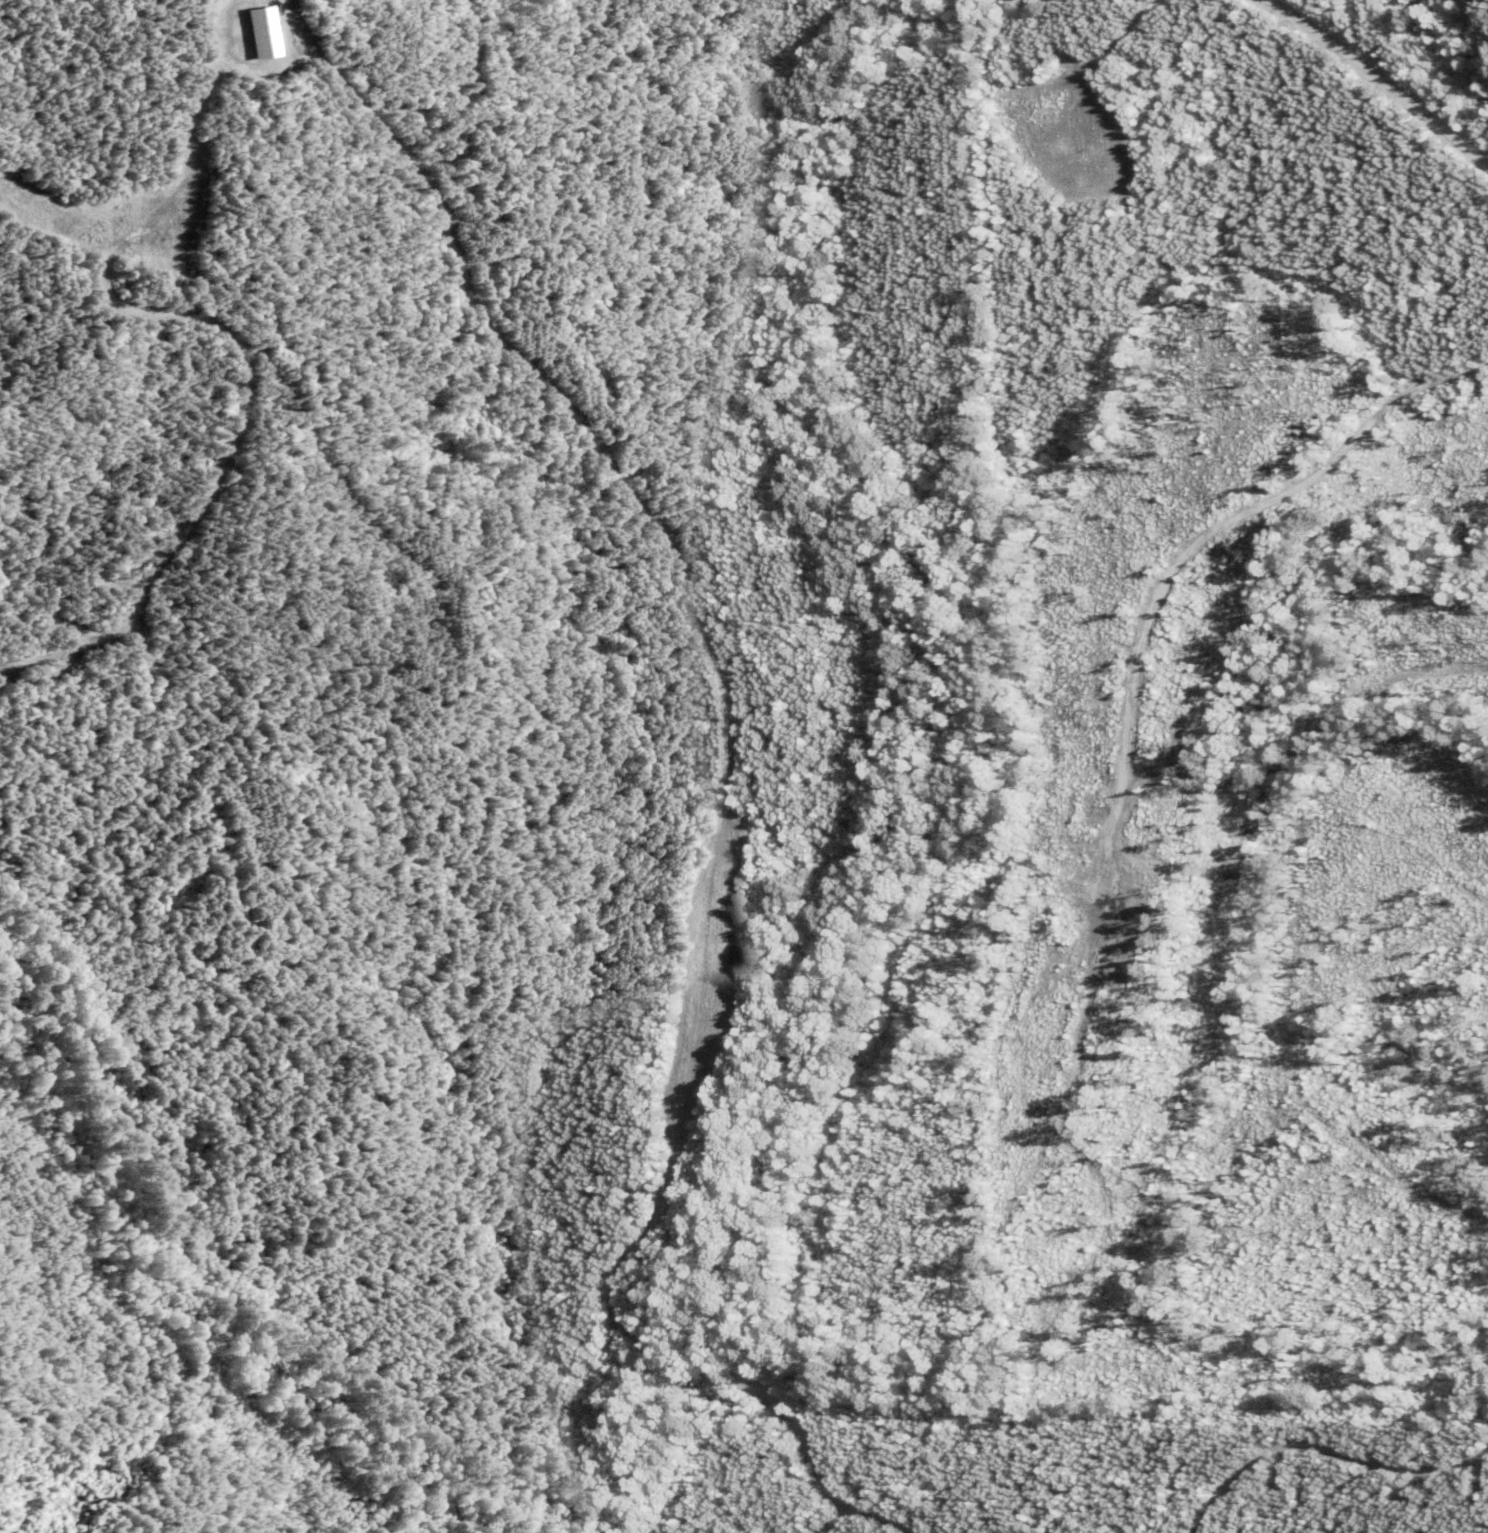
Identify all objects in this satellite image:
road: (1461, 5)

